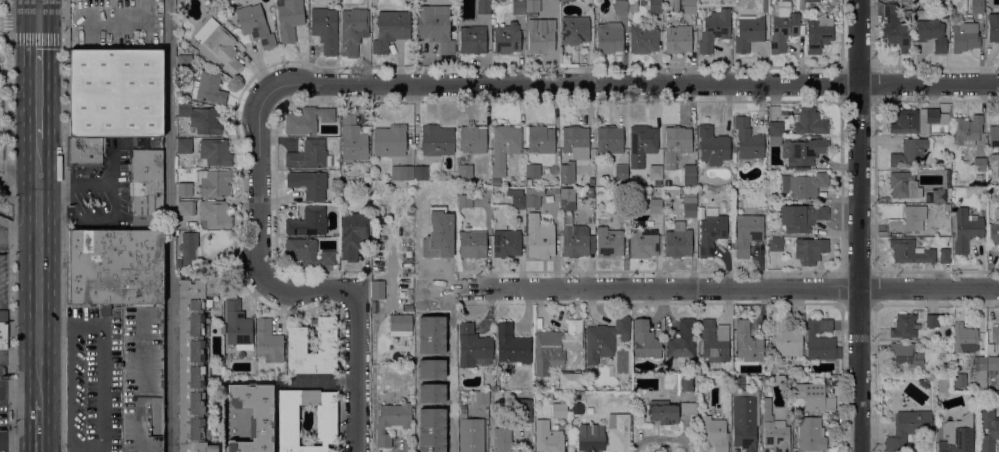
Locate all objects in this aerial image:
building: (812, 0)
building: (909, 0)
road: (10, 2)
building: (562, 2)
building: (799, 4)
building: (620, 6)
building: (655, 6)
building: (689, 6)
building: (764, 6)
building: (977, 6)
building: (483, 7)
building: (518, 7)
building: (532, 7)
building: (747, 12)
building: (907, 16)
building: (290, 18)
road: (12, 20)
road: (124, 22)
building: (255, 25)
building: (783, 26)
building: (436, 27)
building: (993, 27)
building: (325, 29)
building: (390, 29)
building: (575, 29)
building: (714, 29)
building: (895, 29)
building: (352, 30)
building: (748, 32)
building: (818, 33)
building: (931, 33)
road: (874, 34)
building: (540, 35)
road: (20, 37)
building: (609, 37)
building: (964, 37)
building: (472, 39)
building: (506, 39)
building: (643, 39)
building: (677, 39)
building: (218, 46)
building: (190, 48)
building: (194, 51)
building: (184, 58)
road: (630, 83)
road: (874, 83)
building: (207, 87)
building: (115, 92)
building: (201, 118)
building: (307, 120)
building: (917, 120)
building: (809, 121)
building: (775, 128)
building: (967, 130)
building: (994, 136)
building: (352, 139)
building: (472, 139)
building: (540, 139)
building: (747, 139)
building: (389, 140)
building: (436, 140)
building: (610, 140)
building: (575, 141)
building: (642, 144)
building: (676, 144)
building: (184, 145)
building: (504, 146)
building: (712, 146)
building: (85, 151)
building: (805, 151)
building: (909, 152)
building: (214, 153)
building: (309, 155)
building: (734, 157)
building: (995, 157)
building: (979, 164)
building: (947, 165)
building: (599, 167)
building: (464, 170)
building: (532, 170)
road: (7, 171)
building: (401, 172)
building: (567, 172)
building: (621, 172)
building: (655, 172)
building: (689, 172)
building: (420, 173)
building: (496, 181)
building: (214, 182)
building: (591, 182)
road: (99, 183)
building: (308, 183)
building: (803, 184)
road: (874, 185)
building: (904, 185)
building: (146, 186)
road: (259, 187)
building: (184, 189)
building: (589, 192)
building: (941, 196)
building: (518, 198)
road: (26, 199)
building: (567, 199)
building: (532, 200)
building: (464, 201)
building: (655, 205)
building: (618, 206)
building: (186, 207)
building: (689, 207)
building: (946, 207)
building: (214, 214)
building: (801, 217)
building: (909, 220)
road: (6, 221)
building: (308, 222)
road: (63, 225)
railway: (37, 226)
road: (51, 226)
road: (169, 226)
road: (858, 226)
building: (966, 229)
building: (711, 231)
building: (352, 234)
building: (747, 234)
building: (993, 234)
road: (13, 237)
building: (539, 237)
building: (573, 238)
building: (473, 242)
building: (609, 242)
building: (677, 242)
building: (506, 243)
road: (12, 244)
building: (643, 244)
building: (775, 244)
building: (187, 249)
building: (810, 250)
building: (910, 251)
building: (307, 252)
building: (944, 255)
road: (652, 287)
road: (874, 287)
road: (936, 287)
building: (376, 288)
road: (305, 289)
building: (128, 319)
building: (931, 320)
building: (400, 322)
road: (39, 324)
building: (237, 325)
building: (904, 326)
building: (3, 329)
building: (222, 329)
building: (787, 336)
building: (995, 337)
building: (605, 338)
building: (964, 338)
building: (326, 340)
building: (645, 340)
building: (682, 340)
building: (714, 340)
building: (820, 340)
building: (269, 341)
building: (747, 342)
building: (511, 345)
building: (554, 346)
building: (946, 346)
building: (473, 347)
building: (906, 355)
road: (13, 359)
road: (102, 361)
building: (192, 361)
building: (992, 365)
road: (356, 371)
building: (980, 373)
road: (874, 377)
building: (788, 378)
building: (958, 380)
building: (925, 381)
building: (685, 382)
building: (738, 382)
building: (431, 383)
building: (944, 385)
road: (13, 387)
building: (615, 393)
building: (817, 395)
building: (481, 398)
building: (635, 401)
building: (576, 408)
building: (559, 410)
building: (669, 410)
building: (521, 411)
building: (253, 416)
building: (391, 421)
building: (326, 422)
building: (744, 422)
road: (27, 426)
building: (908, 427)
building: (774, 429)
building: (988, 430)
building: (617, 432)
building: (714, 432)
building: (470, 435)
building: (810, 435)
building: (957, 435)
building: (547, 437)
building: (591, 437)
building: (502, 440)
road: (13, 441)

